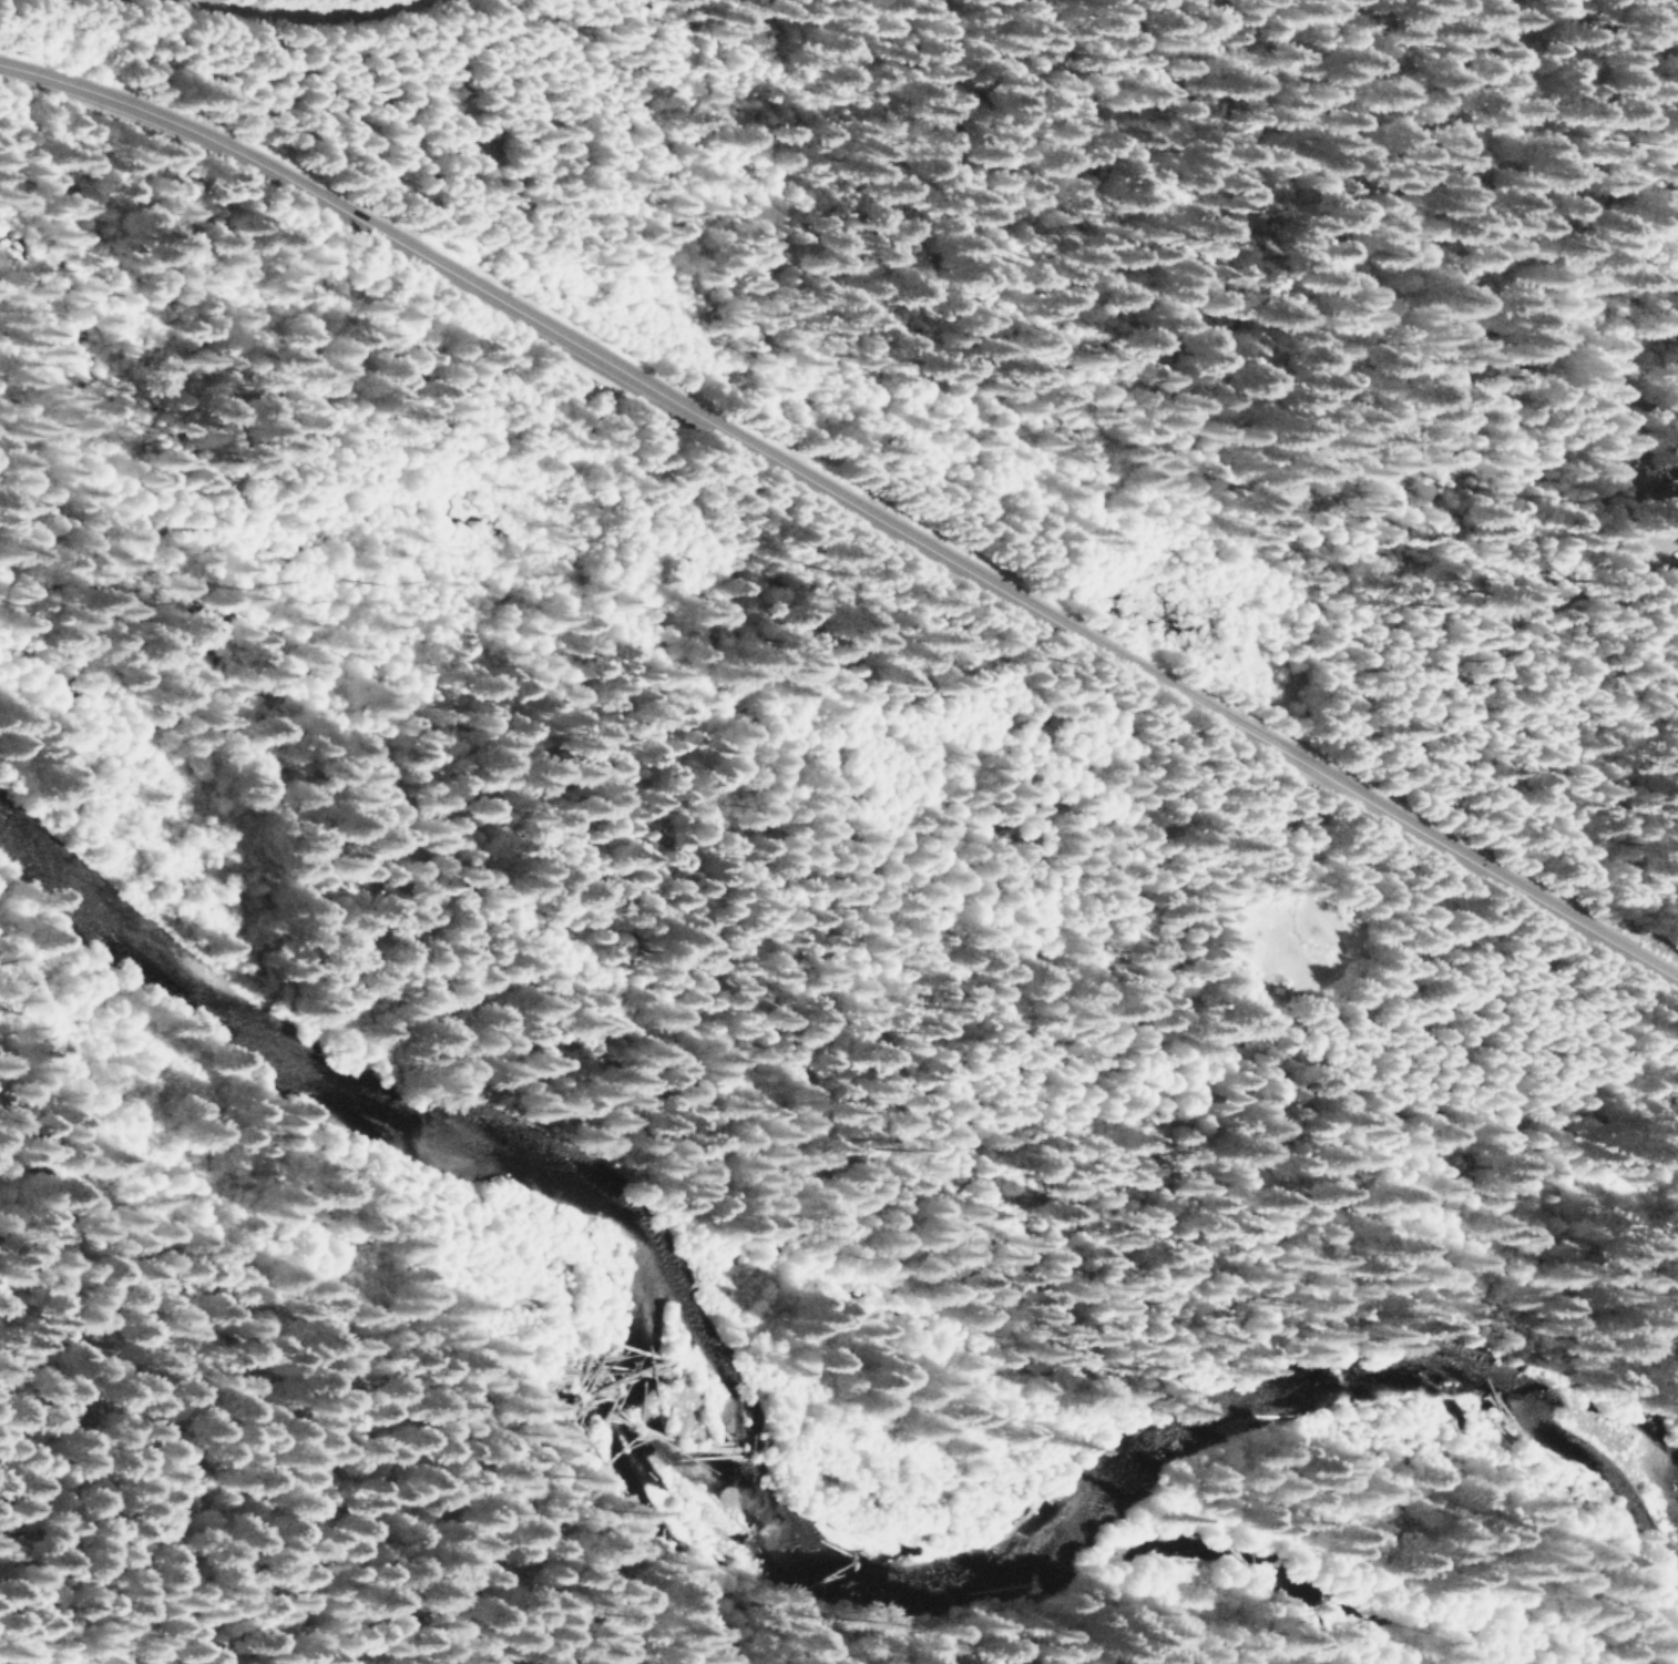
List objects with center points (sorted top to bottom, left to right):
road: (274, 13)
road: (848, 494)
river: (747, 1452)

